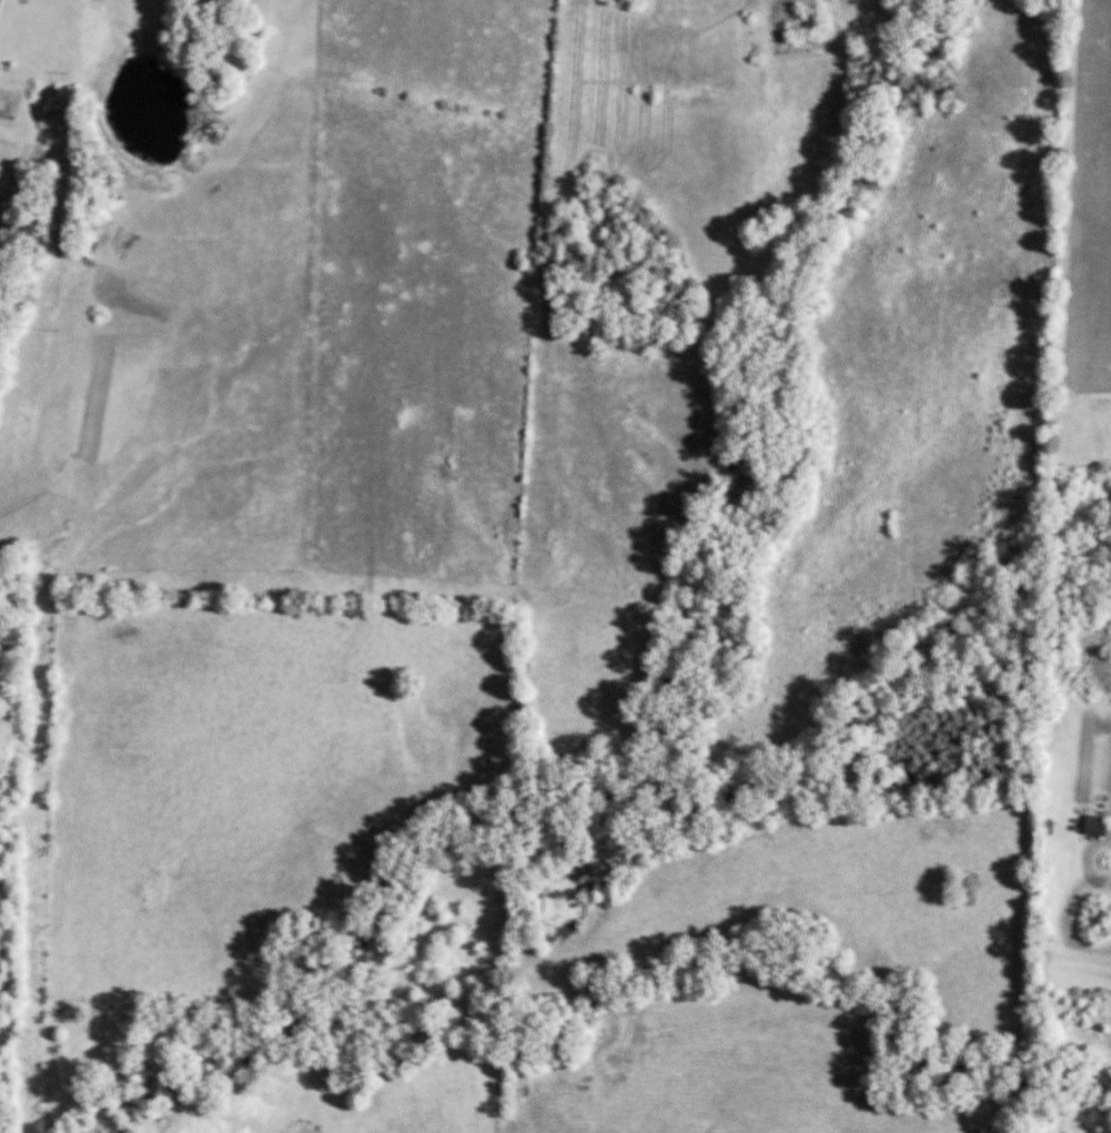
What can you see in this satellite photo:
building: (1095, 827)

